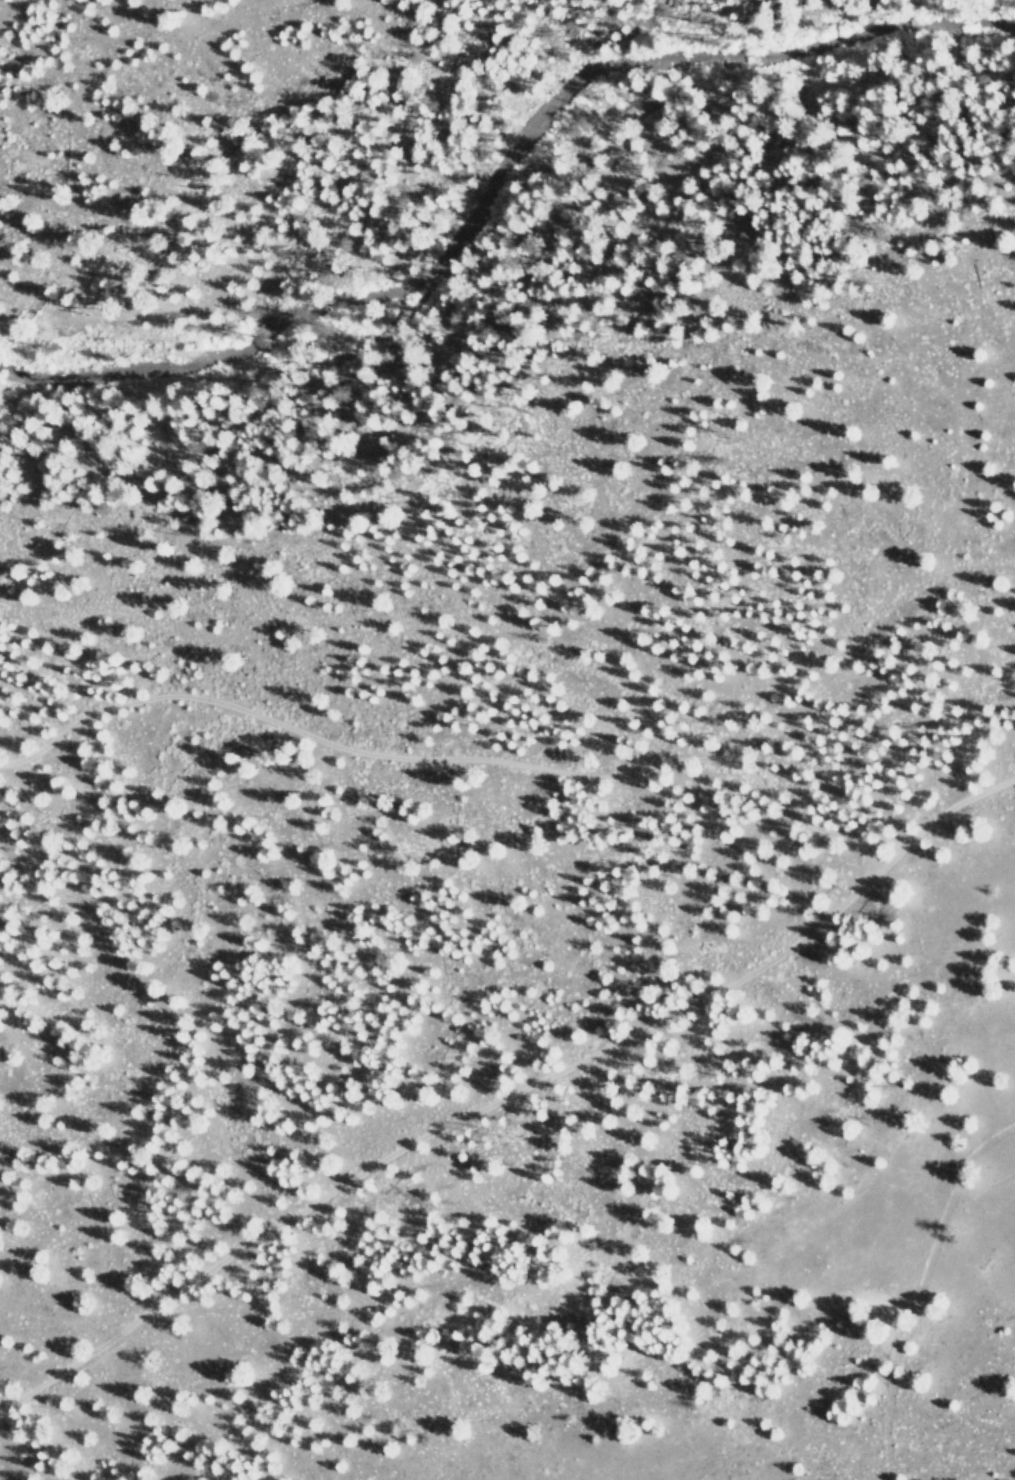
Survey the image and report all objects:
road: (982, 825)
road: (466, 1100)

